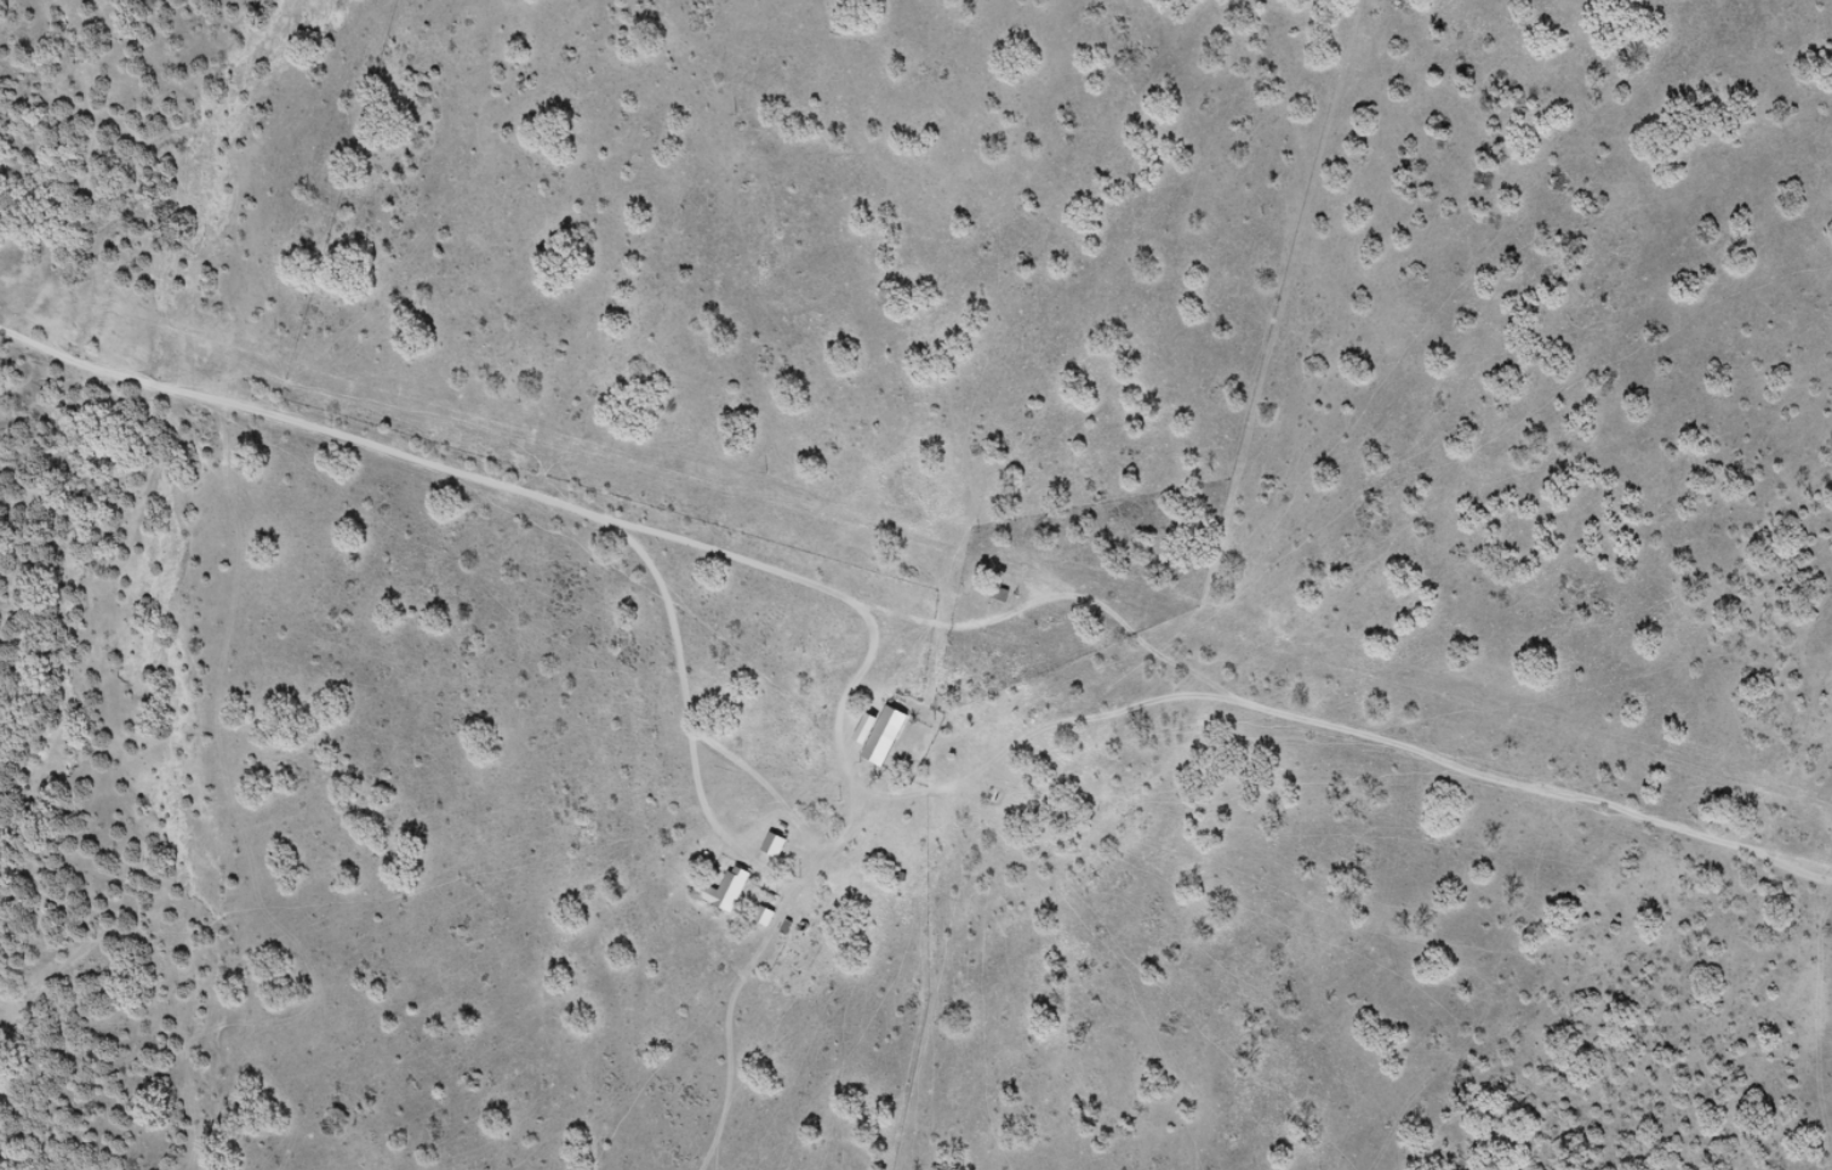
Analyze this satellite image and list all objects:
road: (481, 527)
road: (1130, 626)
building: (884, 735)
road: (660, 747)
building: (772, 845)
building: (724, 890)
building: (763, 915)

